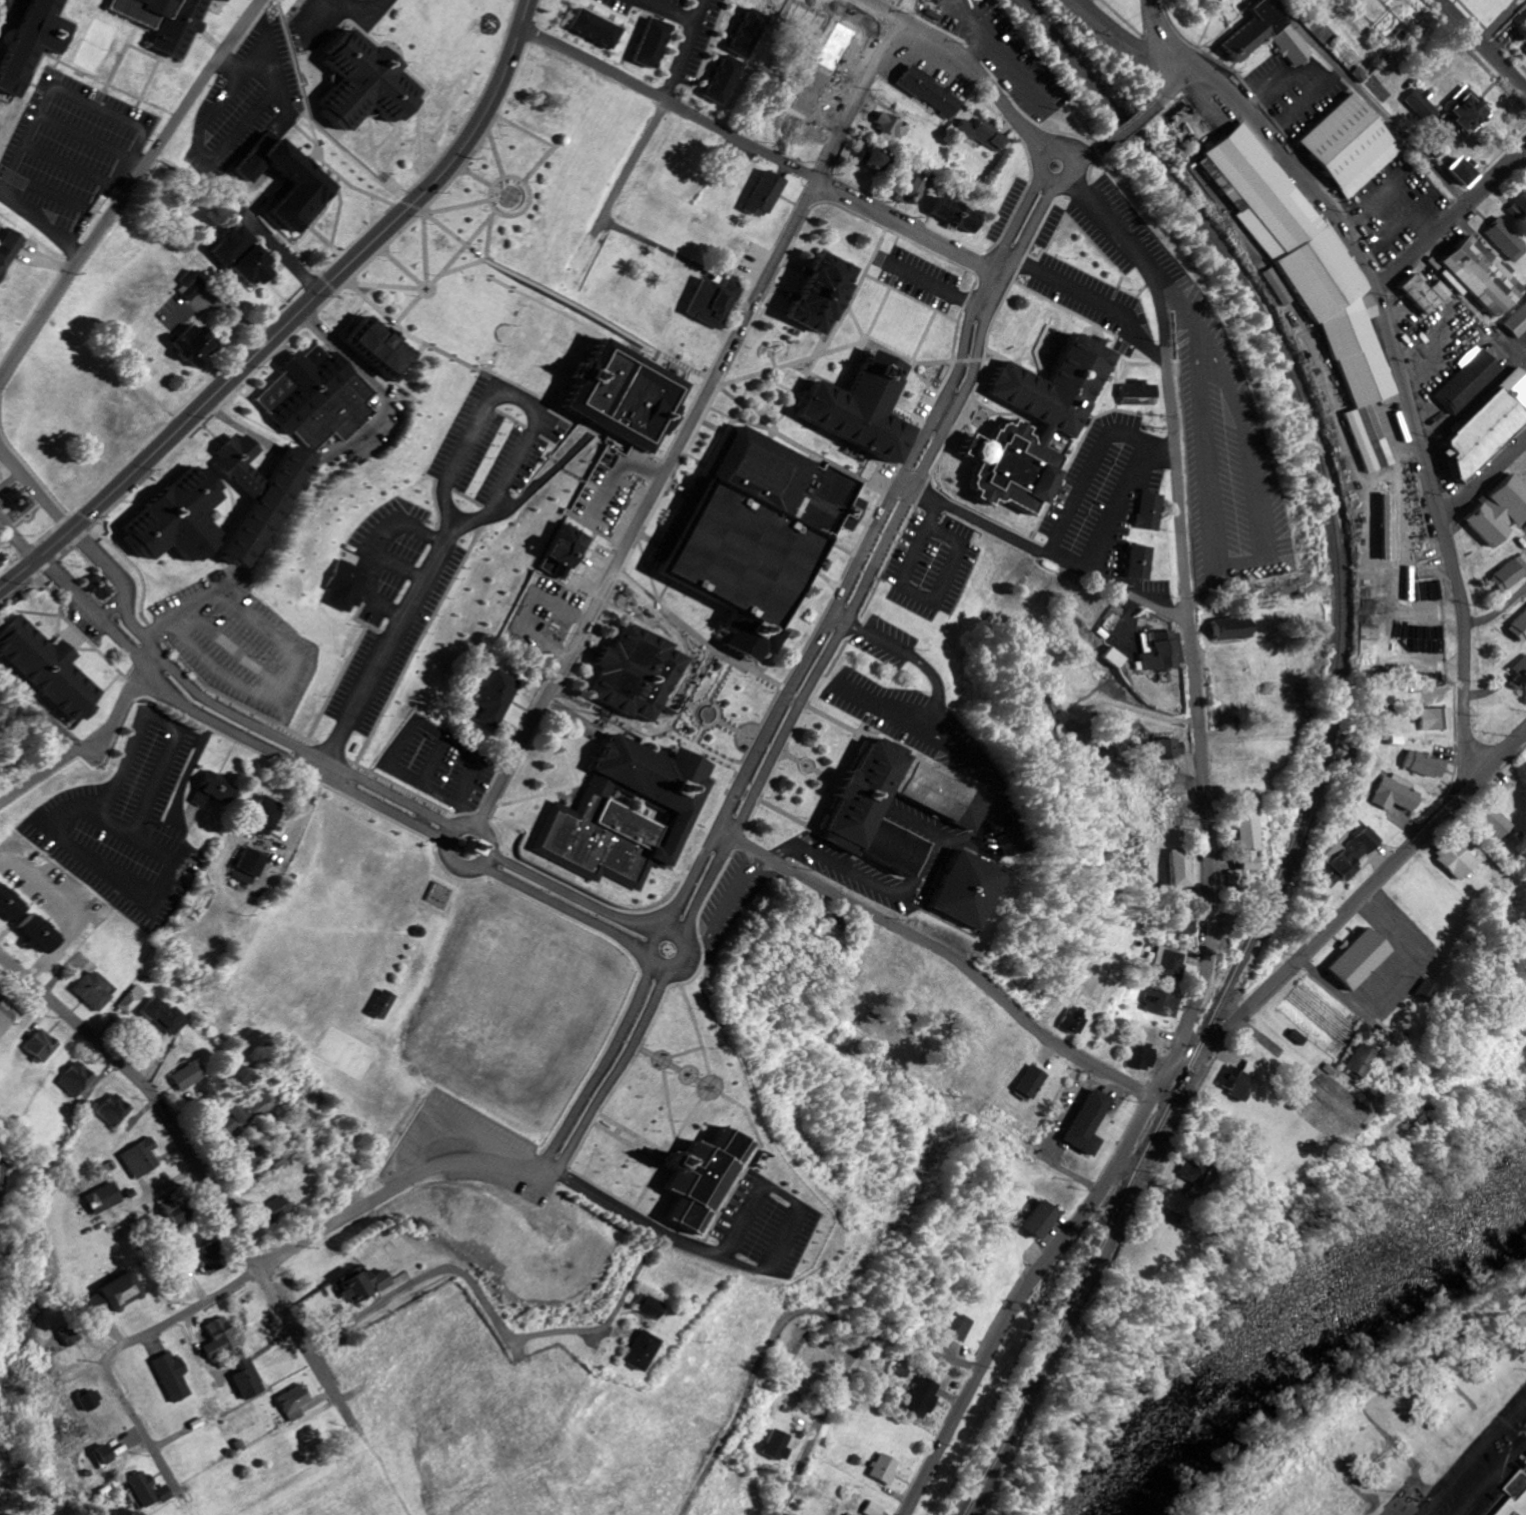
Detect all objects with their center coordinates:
building: (220, 0)
building: (1338, 0)
parking lot: (357, 10)
road: (667, 10)
road: (6, 14)
road: (362, 15)
building: (161, 21)
road: (638, 25)
road: (254, 26)
building: (596, 28)
building: (750, 33)
road: (1131, 39)
building: (1270, 39)
building: (31, 42)
road: (1484, 43)
building: (653, 44)
road: (190, 47)
park: (99, 50)
road: (681, 50)
road: (257, 54)
road: (596, 56)
road: (294, 60)
road: (968, 60)
road: (120, 62)
road: (1176, 78)
building: (725, 80)
building: (362, 81)
building: (823, 81)
road: (61, 90)
road: (512, 90)
parking lot: (1296, 92)
parking lot: (247, 97)
building: (937, 100)
building: (589, 102)
building: (1425, 105)
road: (159, 108)
road: (478, 108)
building: (1471, 110)
road: (1131, 118)
building: (894, 127)
building: (982, 133)
road: (86, 137)
road: (548, 144)
road: (1061, 146)
road: (828, 147)
road: (758, 148)
road: (224, 149)
road: (1087, 149)
parking lot: (73, 151)
building: (690, 151)
building: (1353, 151)
road: (498, 154)
building: (873, 159)
road: (137, 164)
road: (71, 165)
building: (1467, 171)
road: (481, 178)
road: (510, 178)
building: (307, 186)
road: (338, 187)
road: (129, 189)
road: (394, 190)
building: (907, 190)
road: (364, 192)
road: (55, 194)
building: (761, 194)
road: (615, 202)
road: (101, 203)
road: (459, 207)
building: (1519, 209)
building: (953, 215)
road: (338, 218)
road: (1450, 218)
road: (42, 222)
road: (485, 228)
building: (1508, 240)
road: (328, 242)
building: (229, 246)
building: (9, 250)
road: (286, 259)
building: (249, 266)
road: (450, 267)
building: (1309, 267)
road: (330, 269)
road: (407, 270)
road: (1002, 272)
building: (1483, 277)
parking lot: (921, 280)
road: (332, 285)
road: (930, 285)
building: (190, 287)
road: (390, 287)
road: (551, 292)
building: (816, 294)
building: (1427, 294)
building: (712, 301)
road: (1098, 301)
road: (418, 302)
road: (922, 305)
road: (1189, 310)
road: (842, 316)
road: (294, 317)
road: (947, 317)
building: (1519, 324)
road: (856, 325)
building: (191, 346)
building: (378, 346)
road: (437, 350)
road: (887, 353)
road: (820, 355)
road: (571, 356)
road: (665, 356)
road: (1397, 357)
road: (366, 373)
road: (807, 375)
building: (1470, 382)
road: (781, 387)
building: (1136, 394)
building: (628, 395)
building: (317, 398)
building: (860, 407)
road: (688, 424)
road: (238, 426)
building: (1058, 426)
building: (1490, 428)
road: (798, 445)
road: (164, 460)
building: (237, 465)
road: (1093, 470)
road: (617, 474)
road: (1483, 479)
road: (10, 481)
road: (443, 489)
road: (36, 490)
building: (16, 500)
road: (1121, 502)
building: (266, 507)
building: (1146, 512)
building: (1501, 512)
building: (174, 520)
building: (1389, 528)
building: (758, 535)
parking lot: (440, 536)
road: (18, 539)
road: (897, 543)
building: (563, 552)
road: (1044, 552)
road: (859, 556)
building: (3, 560)
road: (1244, 562)
building: (1134, 563)
road: (872, 565)
parking lot: (930, 567)
building: (1510, 575)
building: (100, 587)
building: (341, 587)
road: (57, 596)
road: (918, 597)
road: (523, 609)
road: (1500, 612)
road: (1189, 613)
road: (1129, 621)
building: (1520, 628)
building: (1235, 629)
road: (80, 634)
road: (697, 639)
parking lot: (240, 646)
building: (1161, 652)
road: (294, 659)
building: (1114, 659)
building: (43, 667)
building: (634, 676)
building: (1521, 678)
road: (130, 679)
building: (495, 696)
road: (125, 708)
road: (40, 711)
road: (233, 716)
building: (1438, 720)
road: (423, 723)
road: (224, 727)
building: (1169, 750)
railway: (1325, 750)
building: (1427, 765)
parking lot: (441, 766)
road: (189, 770)
road: (499, 773)
road: (40, 774)
road: (837, 780)
road: (579, 785)
building: (213, 789)
building: (1398, 794)
road: (305, 804)
building: (949, 807)
building: (625, 814)
building: (262, 817)
road: (985, 824)
building: (1495, 824)
parking lot: (129, 826)
road: (465, 828)
road: (62, 842)
building: (1008, 844)
road: (502, 845)
building: (1246, 845)
building: (474, 849)
building: (1350, 858)
building: (1459, 859)
building: (244, 869)
building: (1182, 869)
road: (484, 878)
building: (962, 892)
road: (568, 894)
building: (11, 905)
road: (725, 907)
road: (557, 908)
building: (1186, 928)
road: (659, 931)
building: (41, 934)
road: (942, 951)
road: (695, 955)
building: (1361, 959)
building: (1171, 964)
building: (1426, 991)
building: (94, 992)
building: (133, 1000)
building: (1164, 1004)
building: (373, 1006)
building: (165, 1018)
building: (6, 1022)
building: (1073, 1023)
road: (1383, 1035)
road: (685, 1037)
building: (44, 1047)
building: (1145, 1058)
building: (1361, 1061)
road: (590, 1064)
road: (608, 1071)
building: (188, 1077)
building: (78, 1081)
road: (1163, 1081)
building: (1240, 1081)
building: (1032, 1082)
road: (724, 1101)
building: (255, 1102)
building: (115, 1112)
building: (233, 1121)
building: (1090, 1124)
road: (627, 1133)
road: (622, 1143)
building: (250, 1158)
building: (141, 1160)
building: (1197, 1174)
building: (698, 1176)
road: (396, 1183)
building: (104, 1200)
road: (217, 1203)
building: (274, 1212)
building: (175, 1214)
building: (1043, 1221)
parking lot: (767, 1225)
building: (208, 1260)
road: (749, 1269)
road: (462, 1275)
building: (115, 1296)
building: (650, 1308)
river: (1271, 1310)
building: (952, 1327)
building: (67, 1337)
building: (218, 1339)
building: (640, 1352)
road: (926, 1352)
road: (111, 1361)
road: (751, 1372)
building: (173, 1378)
building: (247, 1380)
building: (920, 1399)
building: (91, 1402)
building: (294, 1404)
road: (818, 1421)
building: (778, 1445)
building: (103, 1454)
road: (1471, 1459)
building: (884, 1469)
building: (147, 1490)
building: (1519, 1495)
building: (874, 1509)
building: (784, 1514)
building: (849, 1514)

